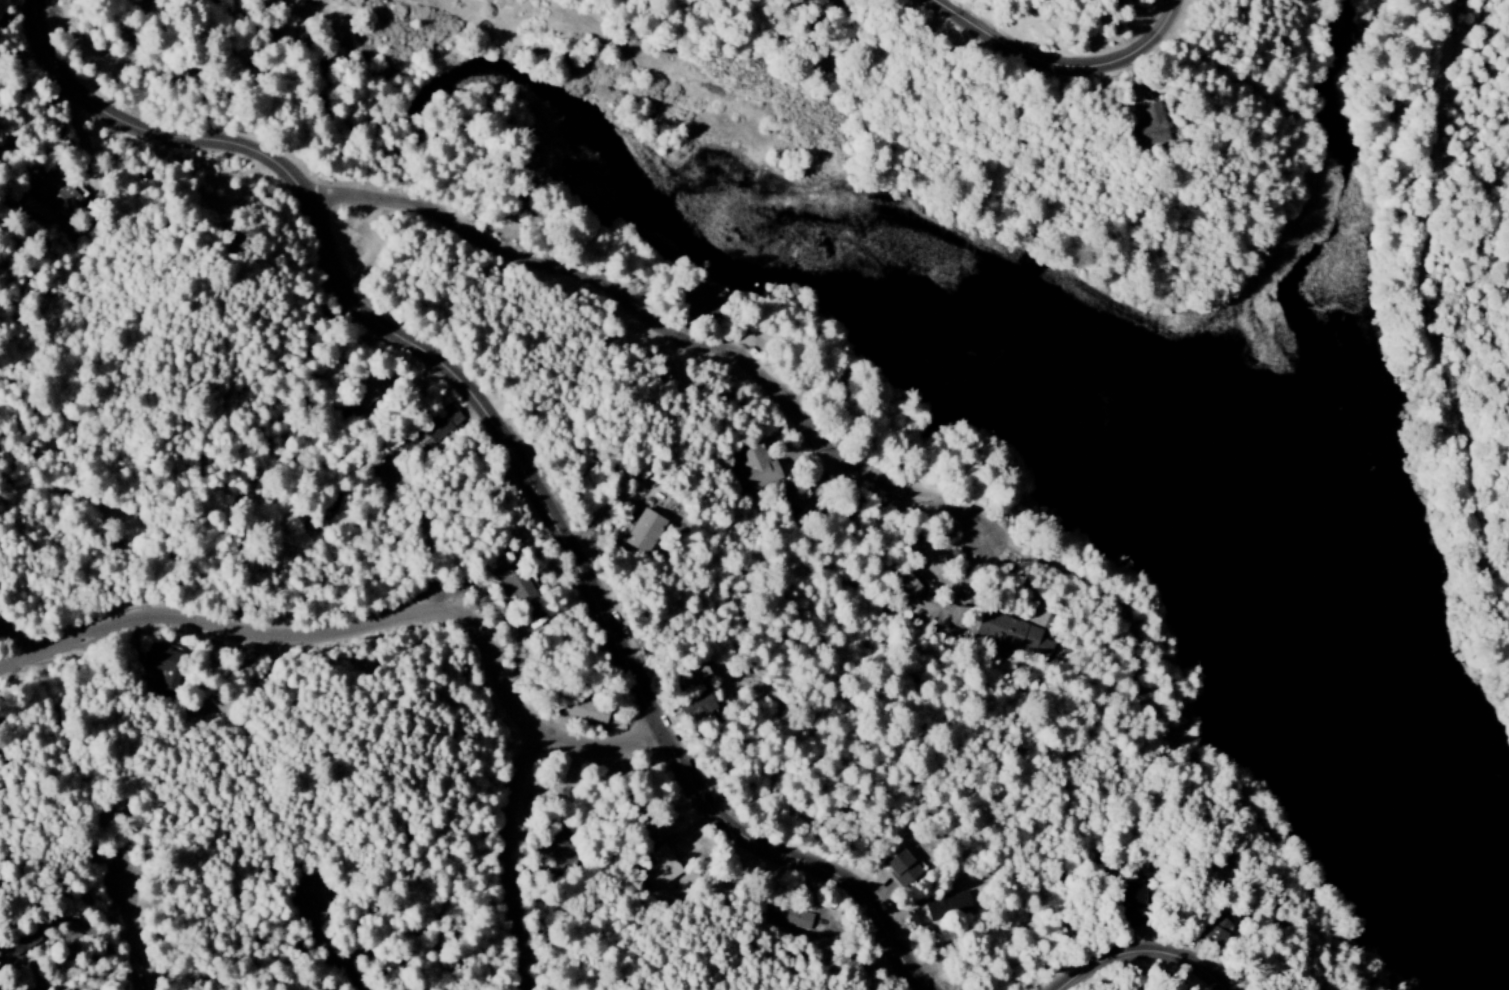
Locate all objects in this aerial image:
building: (819, 2)
road: (1073, 66)
building: (1149, 127)
building: (57, 195)
road: (1433, 291)
building: (699, 299)
road: (677, 332)
building: (365, 395)
building: (442, 425)
road: (519, 447)
building: (757, 466)
building: (792, 496)
building: (643, 531)
building: (522, 595)
building: (928, 604)
road: (368, 627)
building: (1013, 633)
building: (164, 666)
building: (697, 705)
building: (585, 710)
building: (559, 848)
road: (511, 860)
building: (903, 867)
building: (661, 868)
building: (1130, 905)
building: (948, 907)
building: (791, 917)
building: (1216, 932)
road: (142, 940)
building: (22, 941)
road: (329, 941)
road: (1161, 949)

